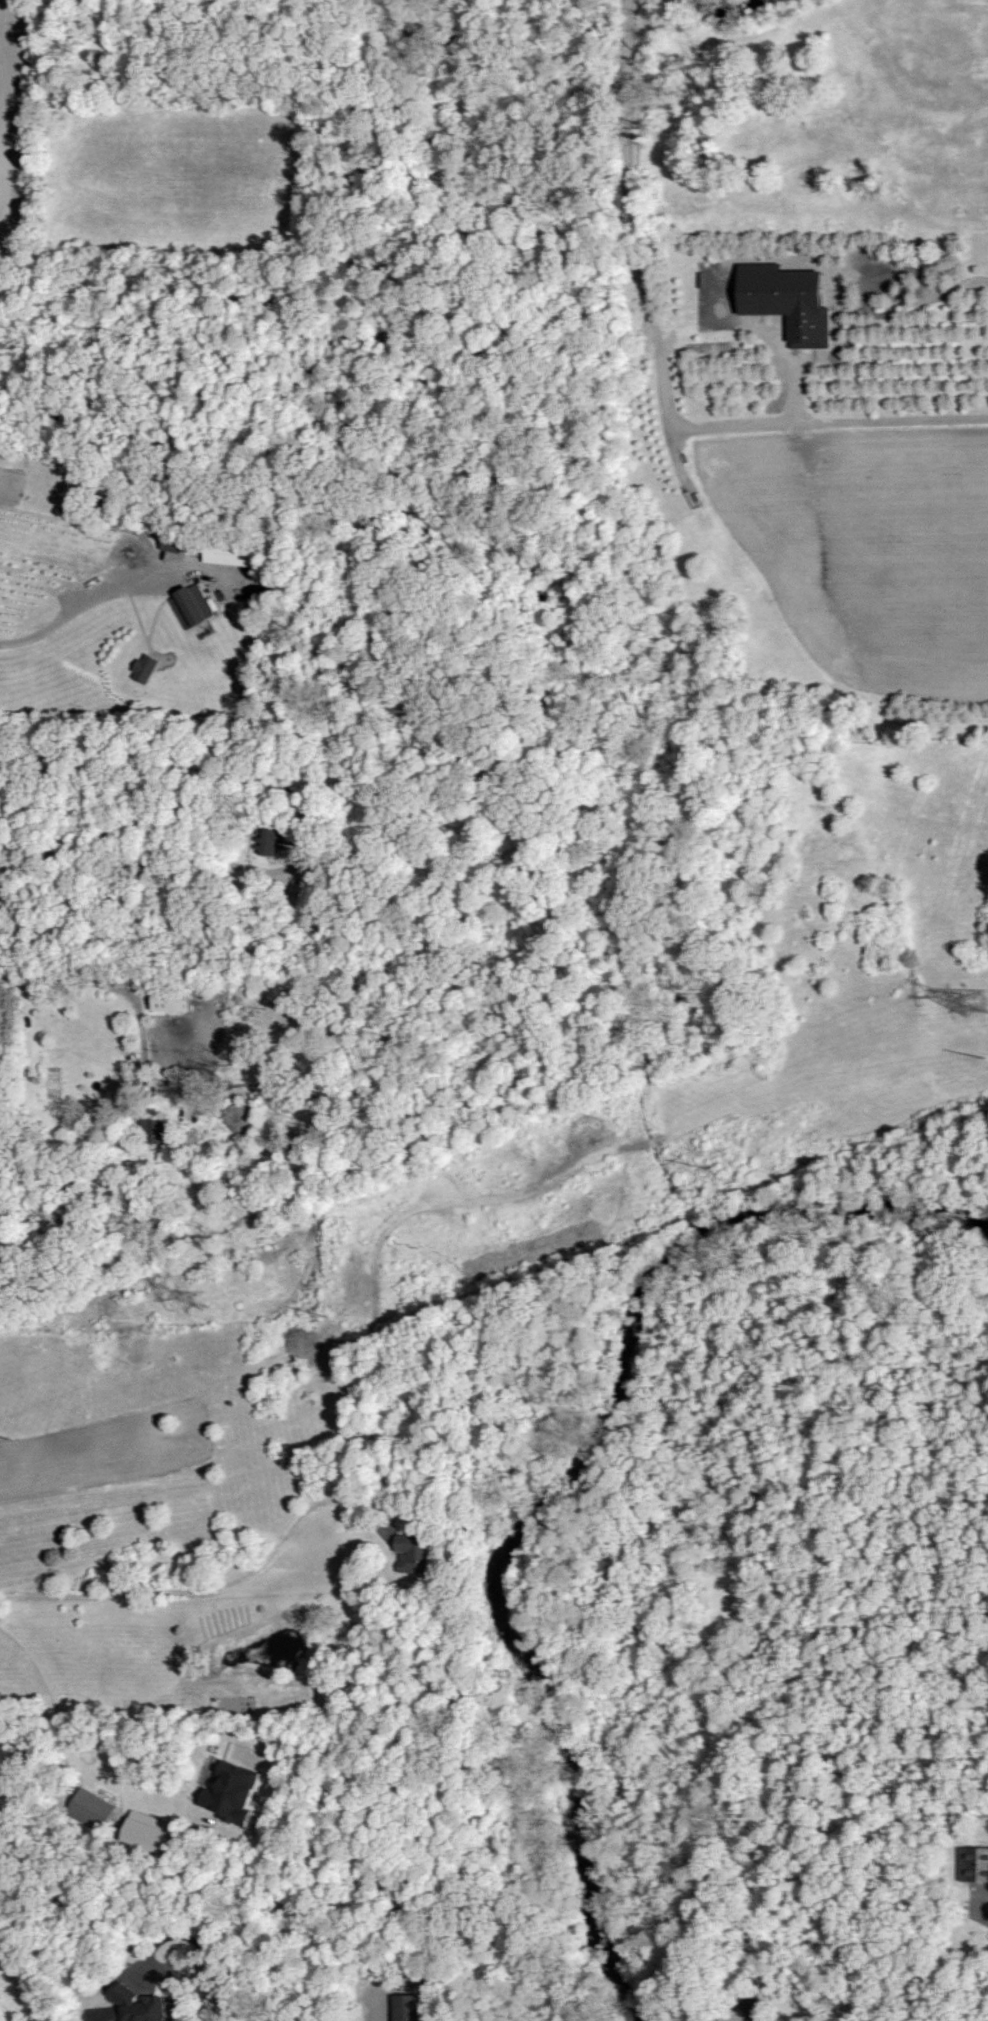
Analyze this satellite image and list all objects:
road: (646, 302)
building: (172, 542)
building: (190, 606)
road: (86, 621)
building: (144, 668)
building: (271, 841)
road: (130, 844)
road: (100, 982)
building: (173, 1001)
power tower: (976, 1004)
building: (154, 1131)
power tower: (204, 1300)
building: (411, 1554)
road: (212, 1587)
road: (72, 1754)
building: (232, 1791)
building: (91, 1809)
building: (145, 1830)
building: (973, 1864)
road: (202, 1949)
building: (140, 2004)
building: (407, 2007)
building: (754, 2008)
building: (106, 2013)

